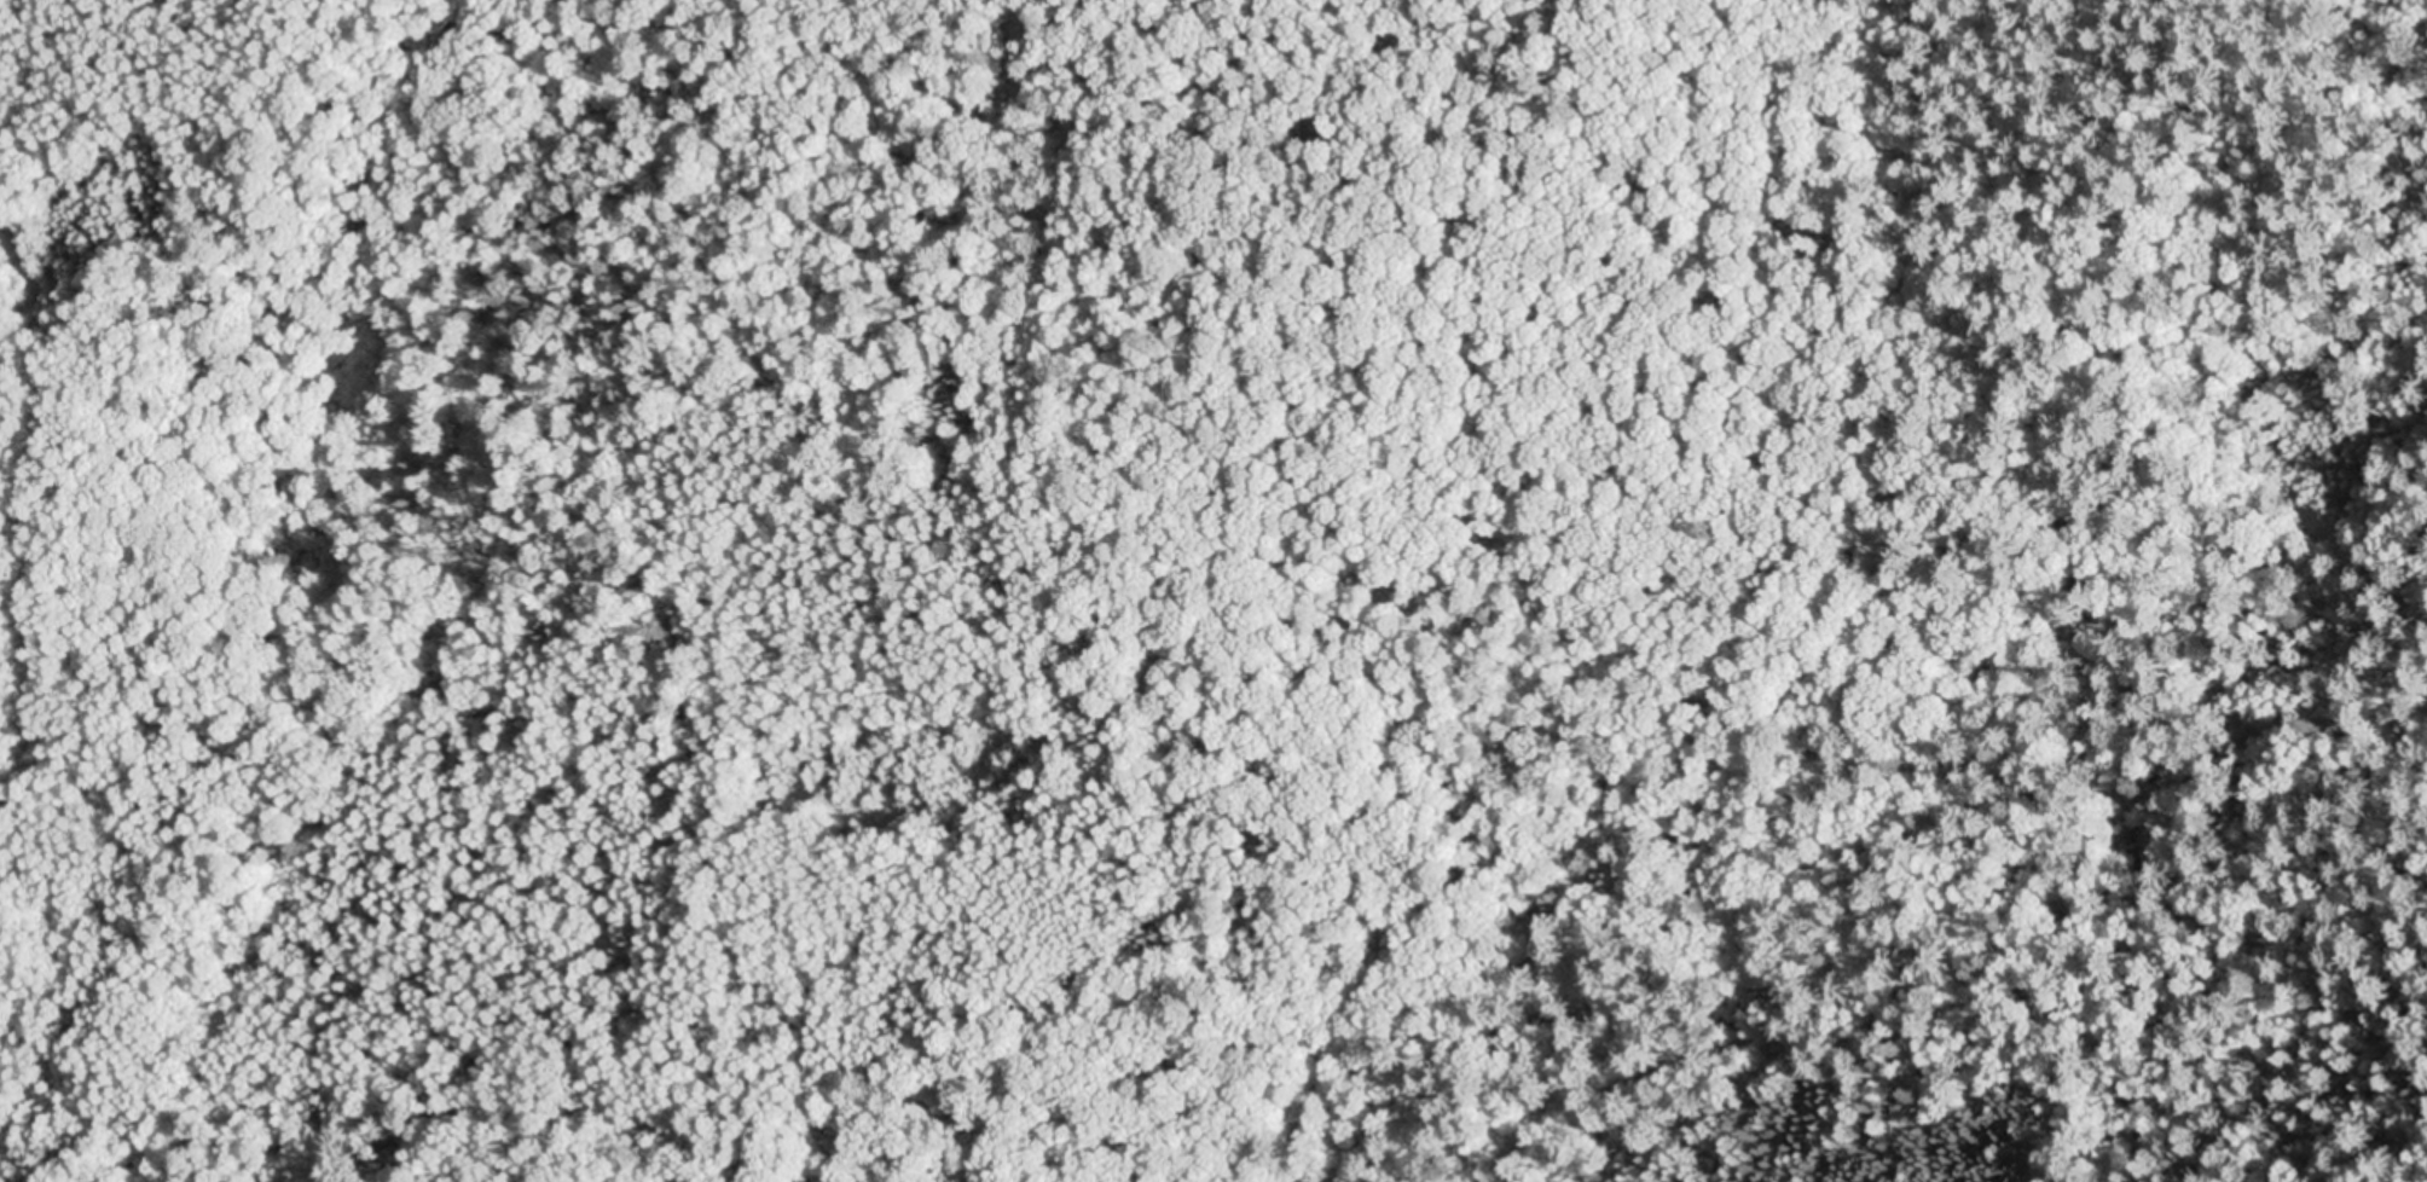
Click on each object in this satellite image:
road: (1154, 487)
road: (31, 514)
road: (1828, 685)
road: (1975, 1048)
road: (267, 1049)

